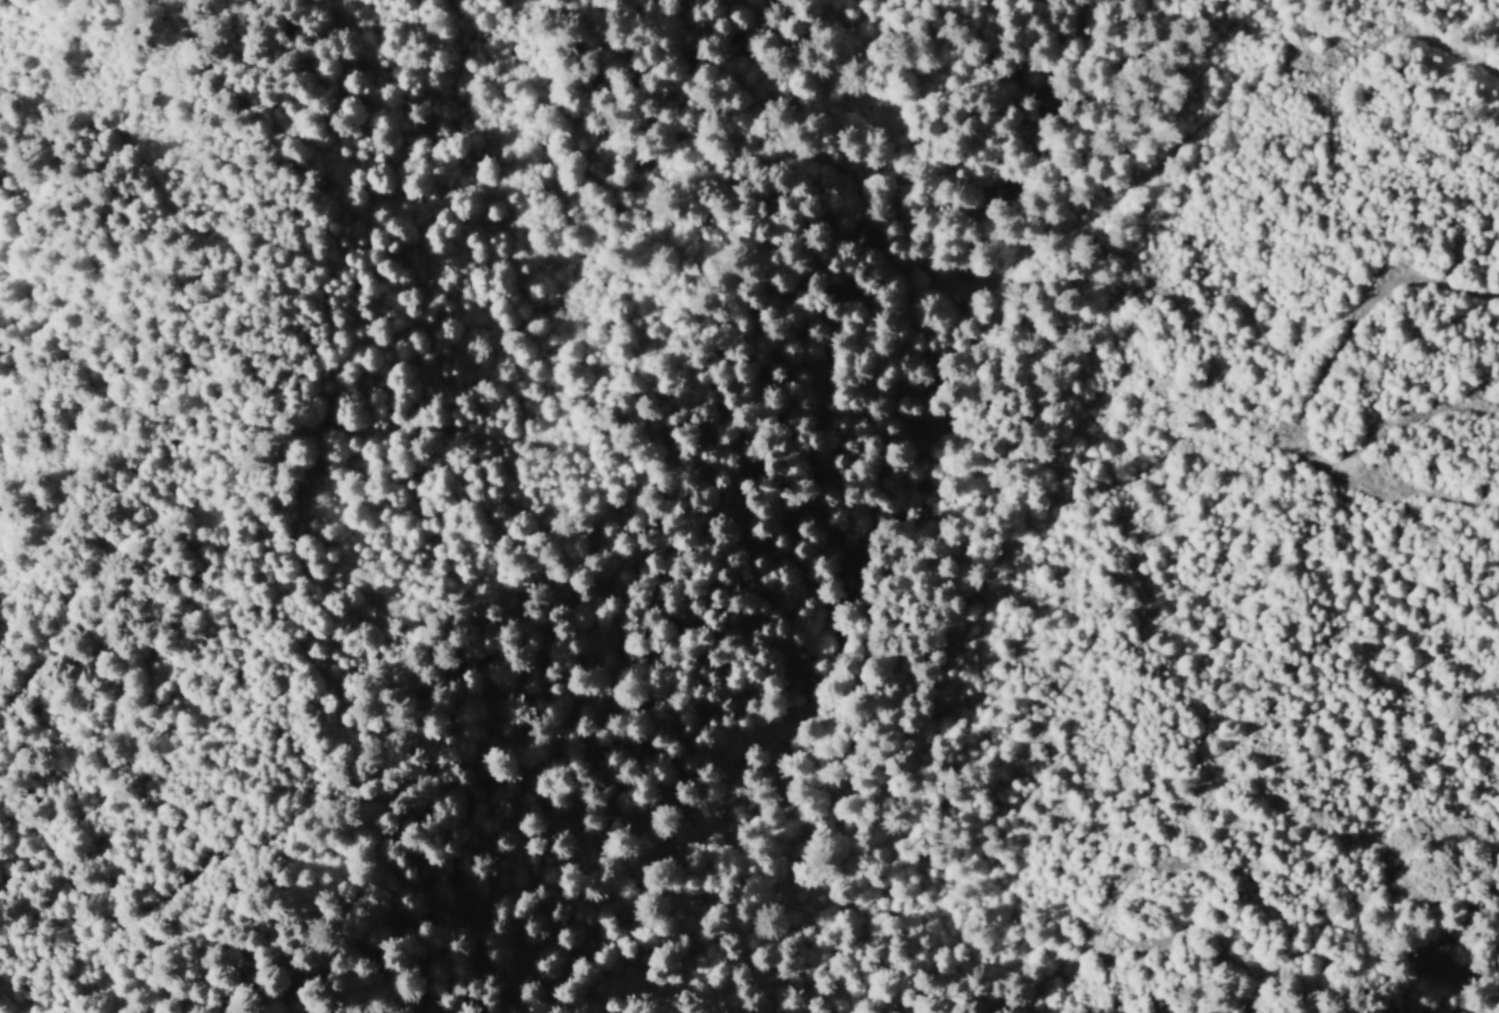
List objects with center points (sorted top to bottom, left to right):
road: (1313, 77)

